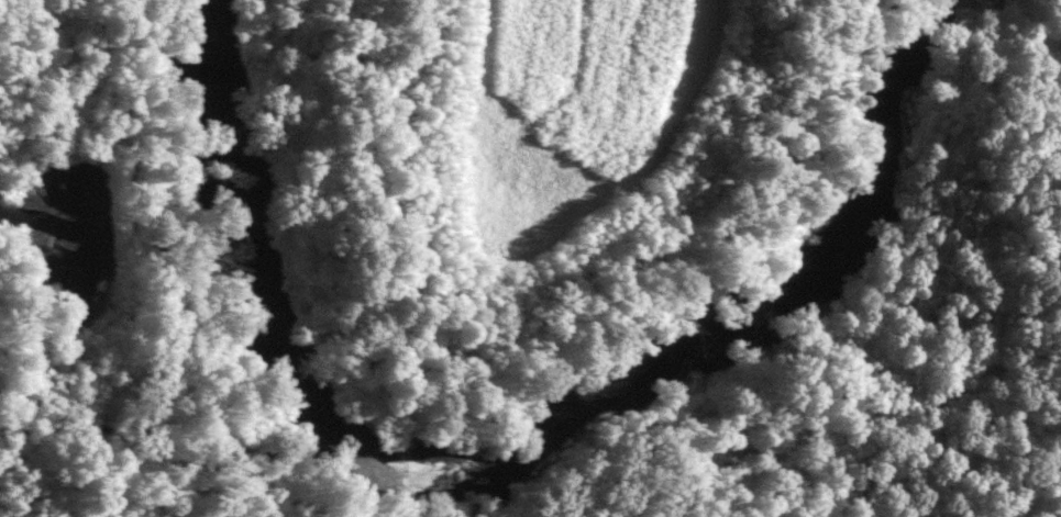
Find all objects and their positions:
river: (512, 458)

